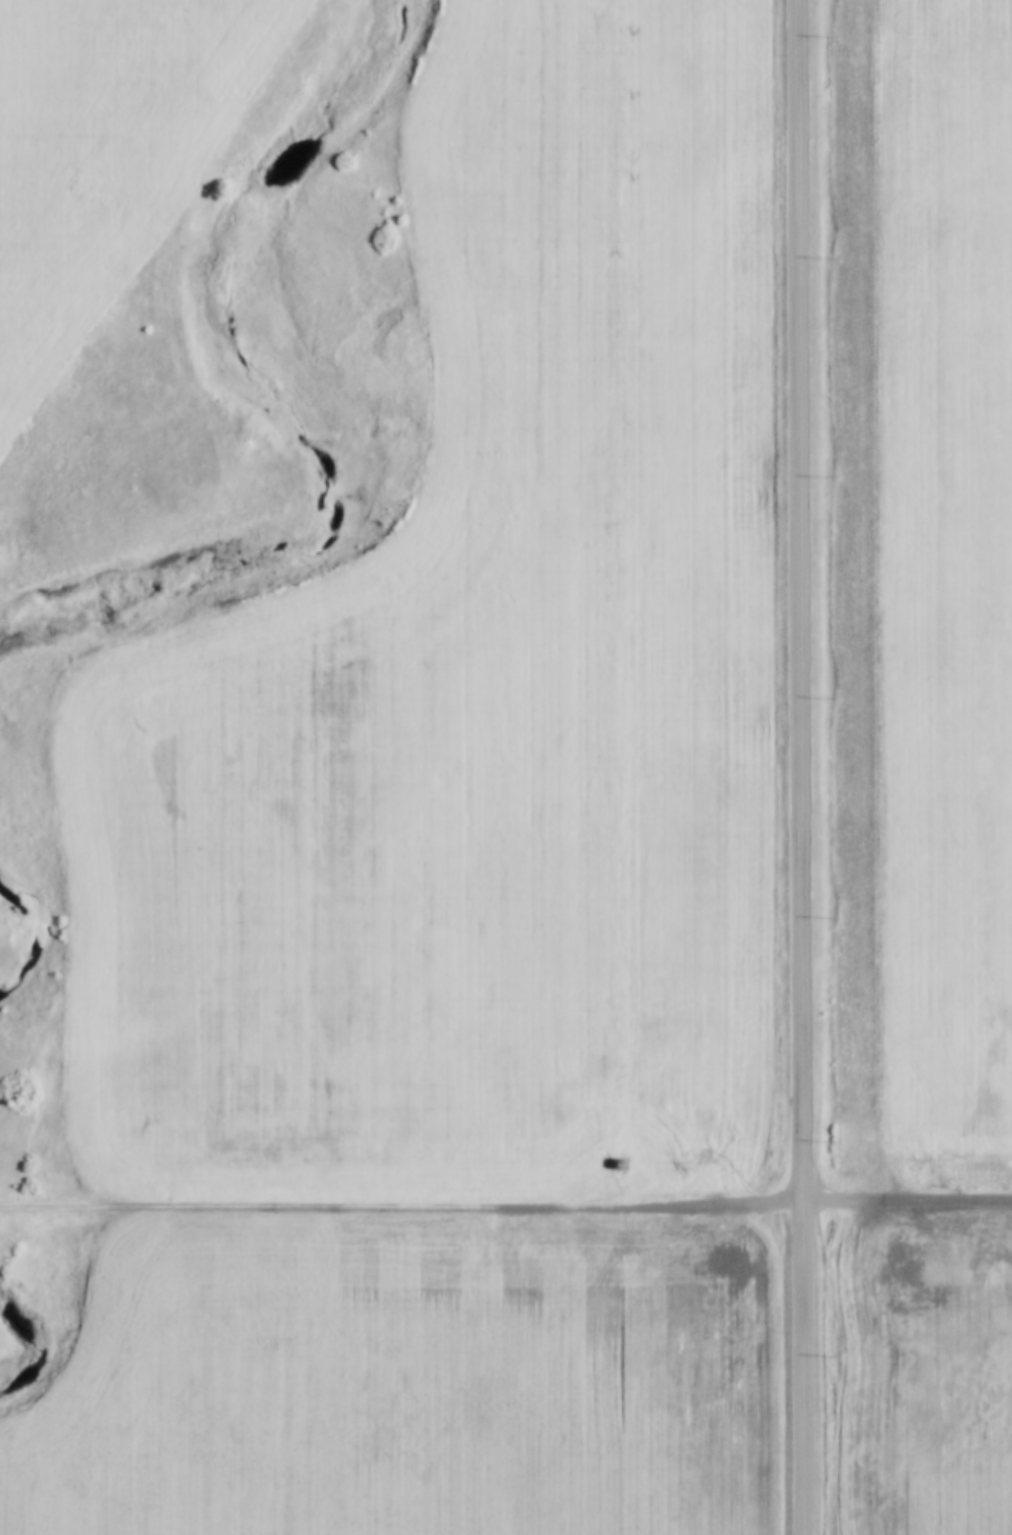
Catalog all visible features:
road: (800, 767)
road: (506, 1195)

